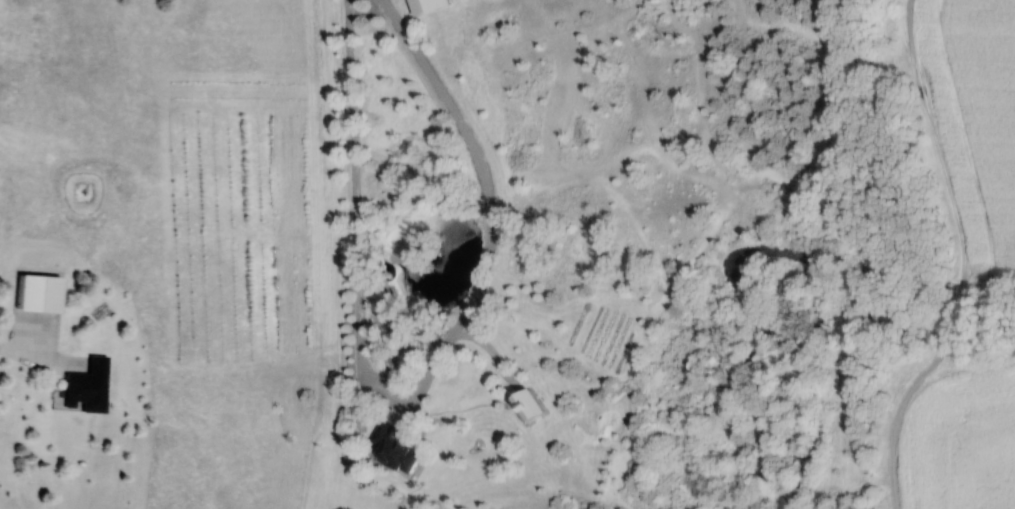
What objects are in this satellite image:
building: (433, 6)
road: (30, 363)
building: (93, 385)
road: (416, 395)
building: (536, 407)
building: (400, 447)
road: (529, 491)

